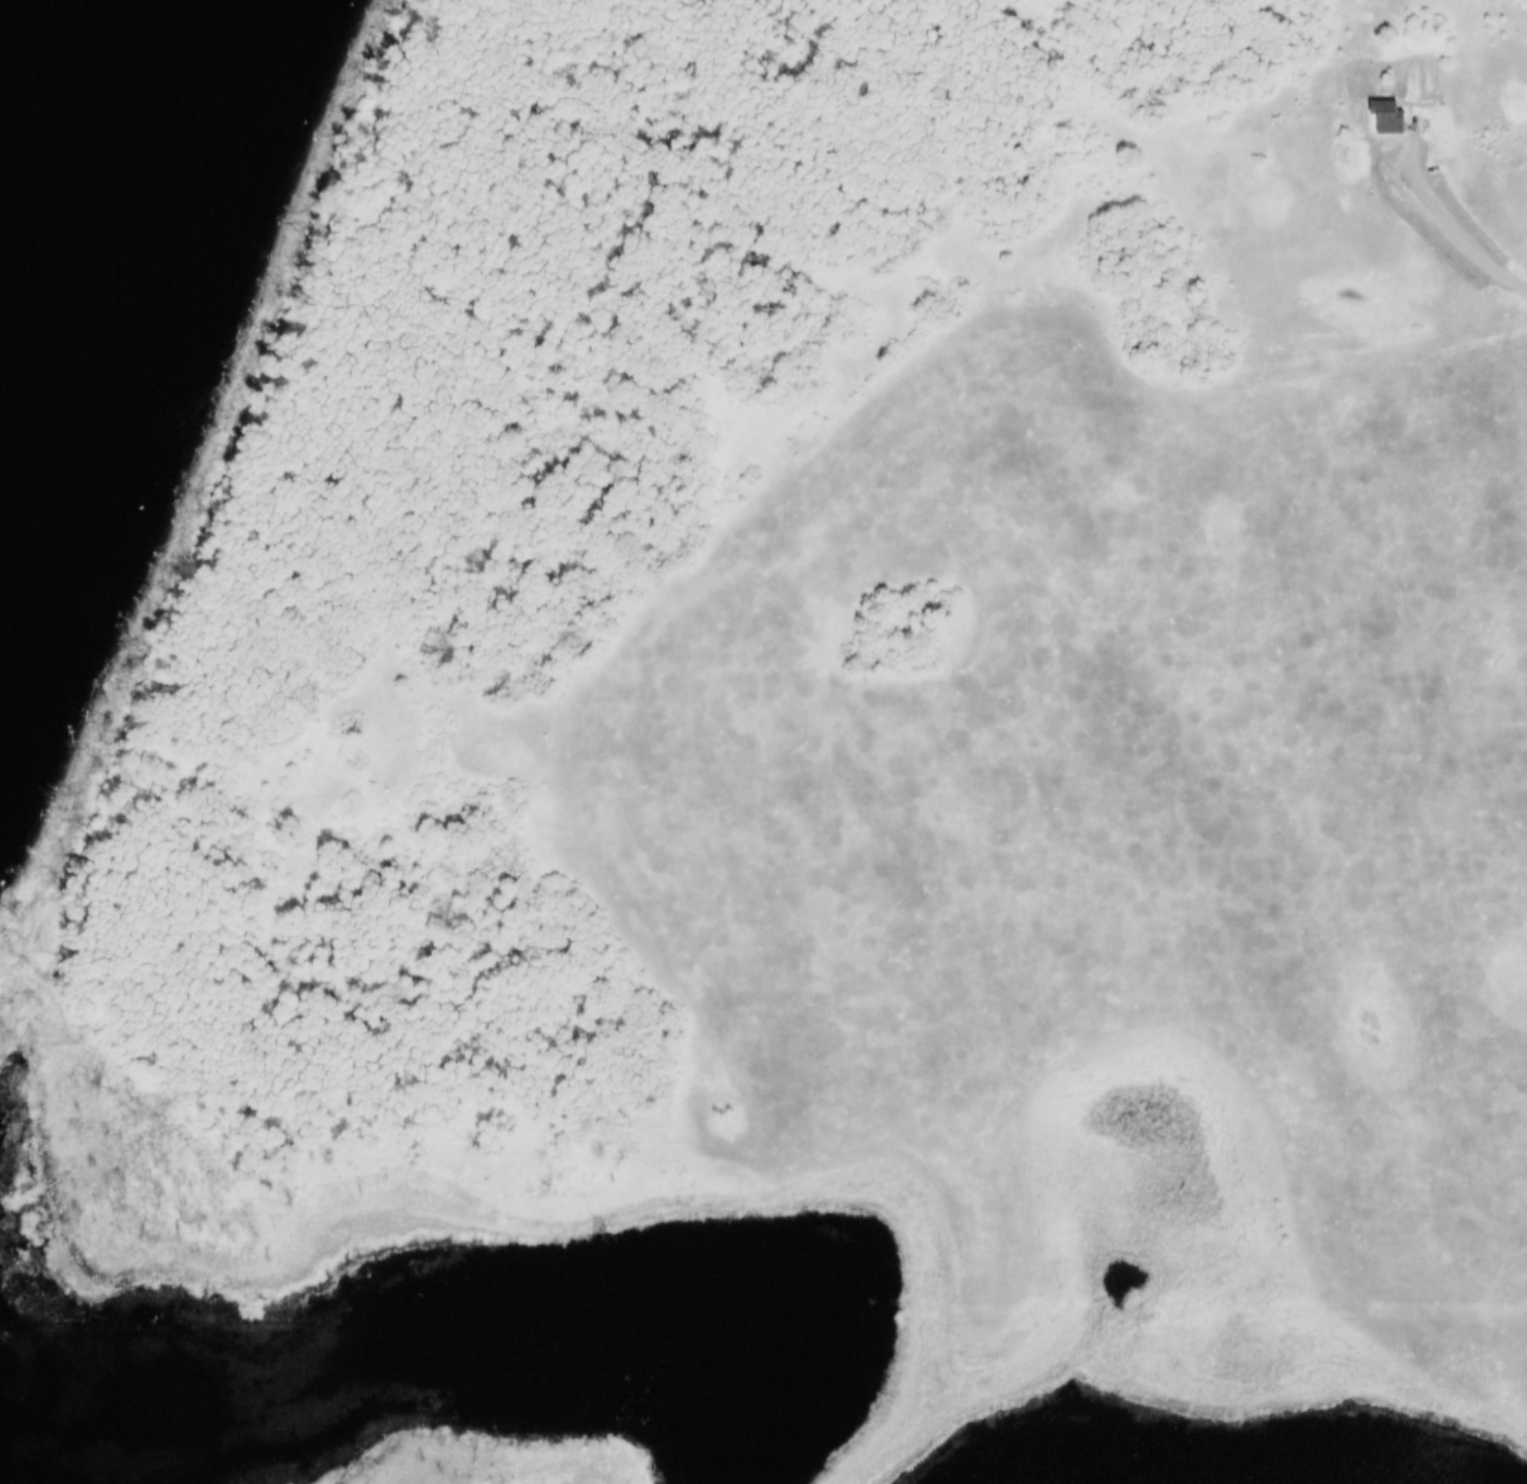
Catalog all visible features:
building: (1378, 108)
road: (1449, 228)

